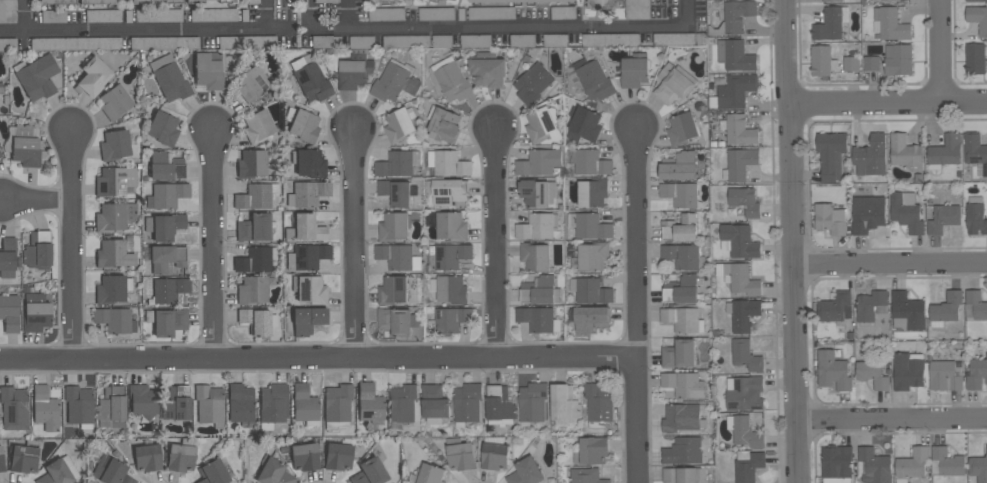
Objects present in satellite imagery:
building: (442, 0)
building: (480, 0)
building: (832, 0)
building: (884, 0)
building: (976, 0)
building: (325, 1)
parking lot: (326, 1)
building: (380, 1)
building: (395, 1)
building: (532, 1)
building: (55, 2)
building: (141, 2)
building: (172, 2)
building: (252, 2)
parking lot: (252, 2)
building: (514, 2)
building: (570, 2)
building: (97, 3)
building: (194, 3)
building: (229, 3)
building: (603, 4)
building: (637, 9)
parking lot: (638, 9)
building: (7, 12)
parking lot: (8, 12)
building: (563, 12)
parking lot: (564, 12)
building: (436, 13)
building: (491, 13)
parking lot: (492, 13)
building: (386, 14)
parking lot: (387, 14)
parking lot: (436, 14)
building: (213, 15)
road: (265, 15)
road: (347, 15)
road: (26, 16)
building: (103, 16)
parking lot: (104, 16)
building: (158, 16)
parking lot: (159, 16)
parking lot: (214, 16)
building: (53, 17)
parking lot: (53, 17)
building: (734, 17)
building: (978, 17)
building: (831, 23)
building: (889, 24)
road: (497, 29)
road: (147, 31)
building: (674, 38)
building: (610, 39)
parking lot: (612, 39)
parking lot: (675, 39)
building: (522, 40)
parking lot: (523, 40)
building: (556, 40)
parking lot: (556, 40)
building: (406, 41)
parking lot: (443, 41)
building: (476, 41)
parking lot: (477, 41)
building: (325, 42)
parking lot: (327, 42)
parking lot: (363, 42)
parking lot: (407, 42)
building: (163, 43)
building: (243, 43)
parking lot: (248, 43)
building: (75, 44)
parking lot: (165, 44)
building: (7, 45)
parking lot: (8, 45)
parking lot: (76, 45)
road: (944, 50)
building: (736, 55)
building: (975, 58)
building: (898, 59)
building: (822, 61)
building: (851, 63)
building: (872, 63)
building: (489, 69)
building: (354, 70)
building: (635, 71)
building: (208, 72)
building: (37, 77)
building: (94, 77)
building: (169, 78)
building: (593, 78)
building: (310, 79)
building: (450, 79)
building: (395, 81)
building: (532, 83)
building: (674, 83)
building: (251, 85)
building: (1, 88)
building: (734, 91)
road: (887, 101)
building: (115, 103)
building: (399, 124)
building: (443, 124)
building: (584, 124)
building: (302, 125)
building: (542, 125)
building: (257, 127)
building: (682, 128)
building: (162, 129)
building: (739, 129)
building: (115, 145)
building: (25, 146)
building: (975, 150)
building: (905, 152)
building: (945, 152)
building: (831, 154)
building: (0, 155)
building: (871, 155)
building: (539, 162)
building: (591, 162)
building: (309, 163)
building: (397, 163)
building: (448, 163)
building: (739, 163)
building: (251, 164)
building: (165, 166)
building: (680, 166)
building: (116, 182)
building: (447, 191)
building: (397, 192)
building: (593, 192)
building: (538, 193)
building: (307, 194)
building: (680, 194)
building: (166, 195)
building: (256, 197)
building: (745, 200)
road: (35, 204)
building: (907, 211)
building: (867, 213)
building: (975, 215)
building: (115, 216)
building: (830, 218)
building: (943, 218)
building: (589, 225)
building: (164, 226)
building: (394, 226)
building: (452, 226)
building: (537, 226)
building: (253, 228)
building: (680, 228)
building: (306, 229)
road: (498, 239)
building: (739, 241)
road: (792, 241)
road: (353, 242)
road: (212, 243)
building: (38, 248)
road: (71, 248)
building: (115, 255)
building: (307, 256)
building: (447, 256)
building: (535, 256)
building: (591, 256)
building: (684, 256)
building: (164, 257)
building: (398, 257)
building: (7, 258)
building: (255, 260)
road: (890, 263)
building: (739, 278)
building: (449, 288)
building: (112, 289)
building: (168, 290)
building: (309, 290)
building: (393, 290)
building: (590, 290)
building: (682, 290)
building: (252, 291)
building: (540, 291)
road: (636, 301)
building: (871, 305)
building: (975, 305)
building: (835, 307)
building: (946, 308)
building: (907, 311)
building: (9, 313)
building: (35, 313)
building: (743, 313)
building: (538, 318)
building: (451, 319)
building: (591, 319)
building: (683, 319)
building: (114, 320)
building: (307, 320)
building: (397, 320)
building: (166, 321)
building: (257, 321)
building: (679, 353)
building: (746, 355)
road: (318, 359)
building: (908, 370)
building: (833, 371)
building: (977, 373)
building: (872, 374)
building: (945, 375)
building: (683, 384)
building: (744, 393)
building: (142, 401)
building: (532, 402)
building: (434, 403)
building: (467, 403)
building: (177, 404)
building: (209, 405)
building: (240, 405)
building: (273, 405)
building: (305, 405)
building: (402, 405)
building: (499, 405)
building: (564, 405)
building: (599, 405)
building: (79, 406)
building: (337, 406)
building: (369, 406)
building: (13, 408)
building: (111, 408)
building: (45, 409)
building: (682, 417)
road: (892, 419)
building: (744, 431)
building: (591, 451)
building: (683, 451)
building: (495, 453)
building: (461, 454)
building: (181, 456)
building: (24, 457)
building: (304, 457)
building: (338, 457)
building: (147, 458)
building: (1, 460)
building: (947, 462)
building: (837, 464)
building: (912, 464)
building: (747, 465)
building: (873, 466)
building: (979, 467)
building: (111, 471)
building: (58, 472)
building: (370, 472)
building: (526, 472)
building: (212, 473)
building: (273, 473)
building: (430, 474)
building: (683, 474)
building: (587, 475)

